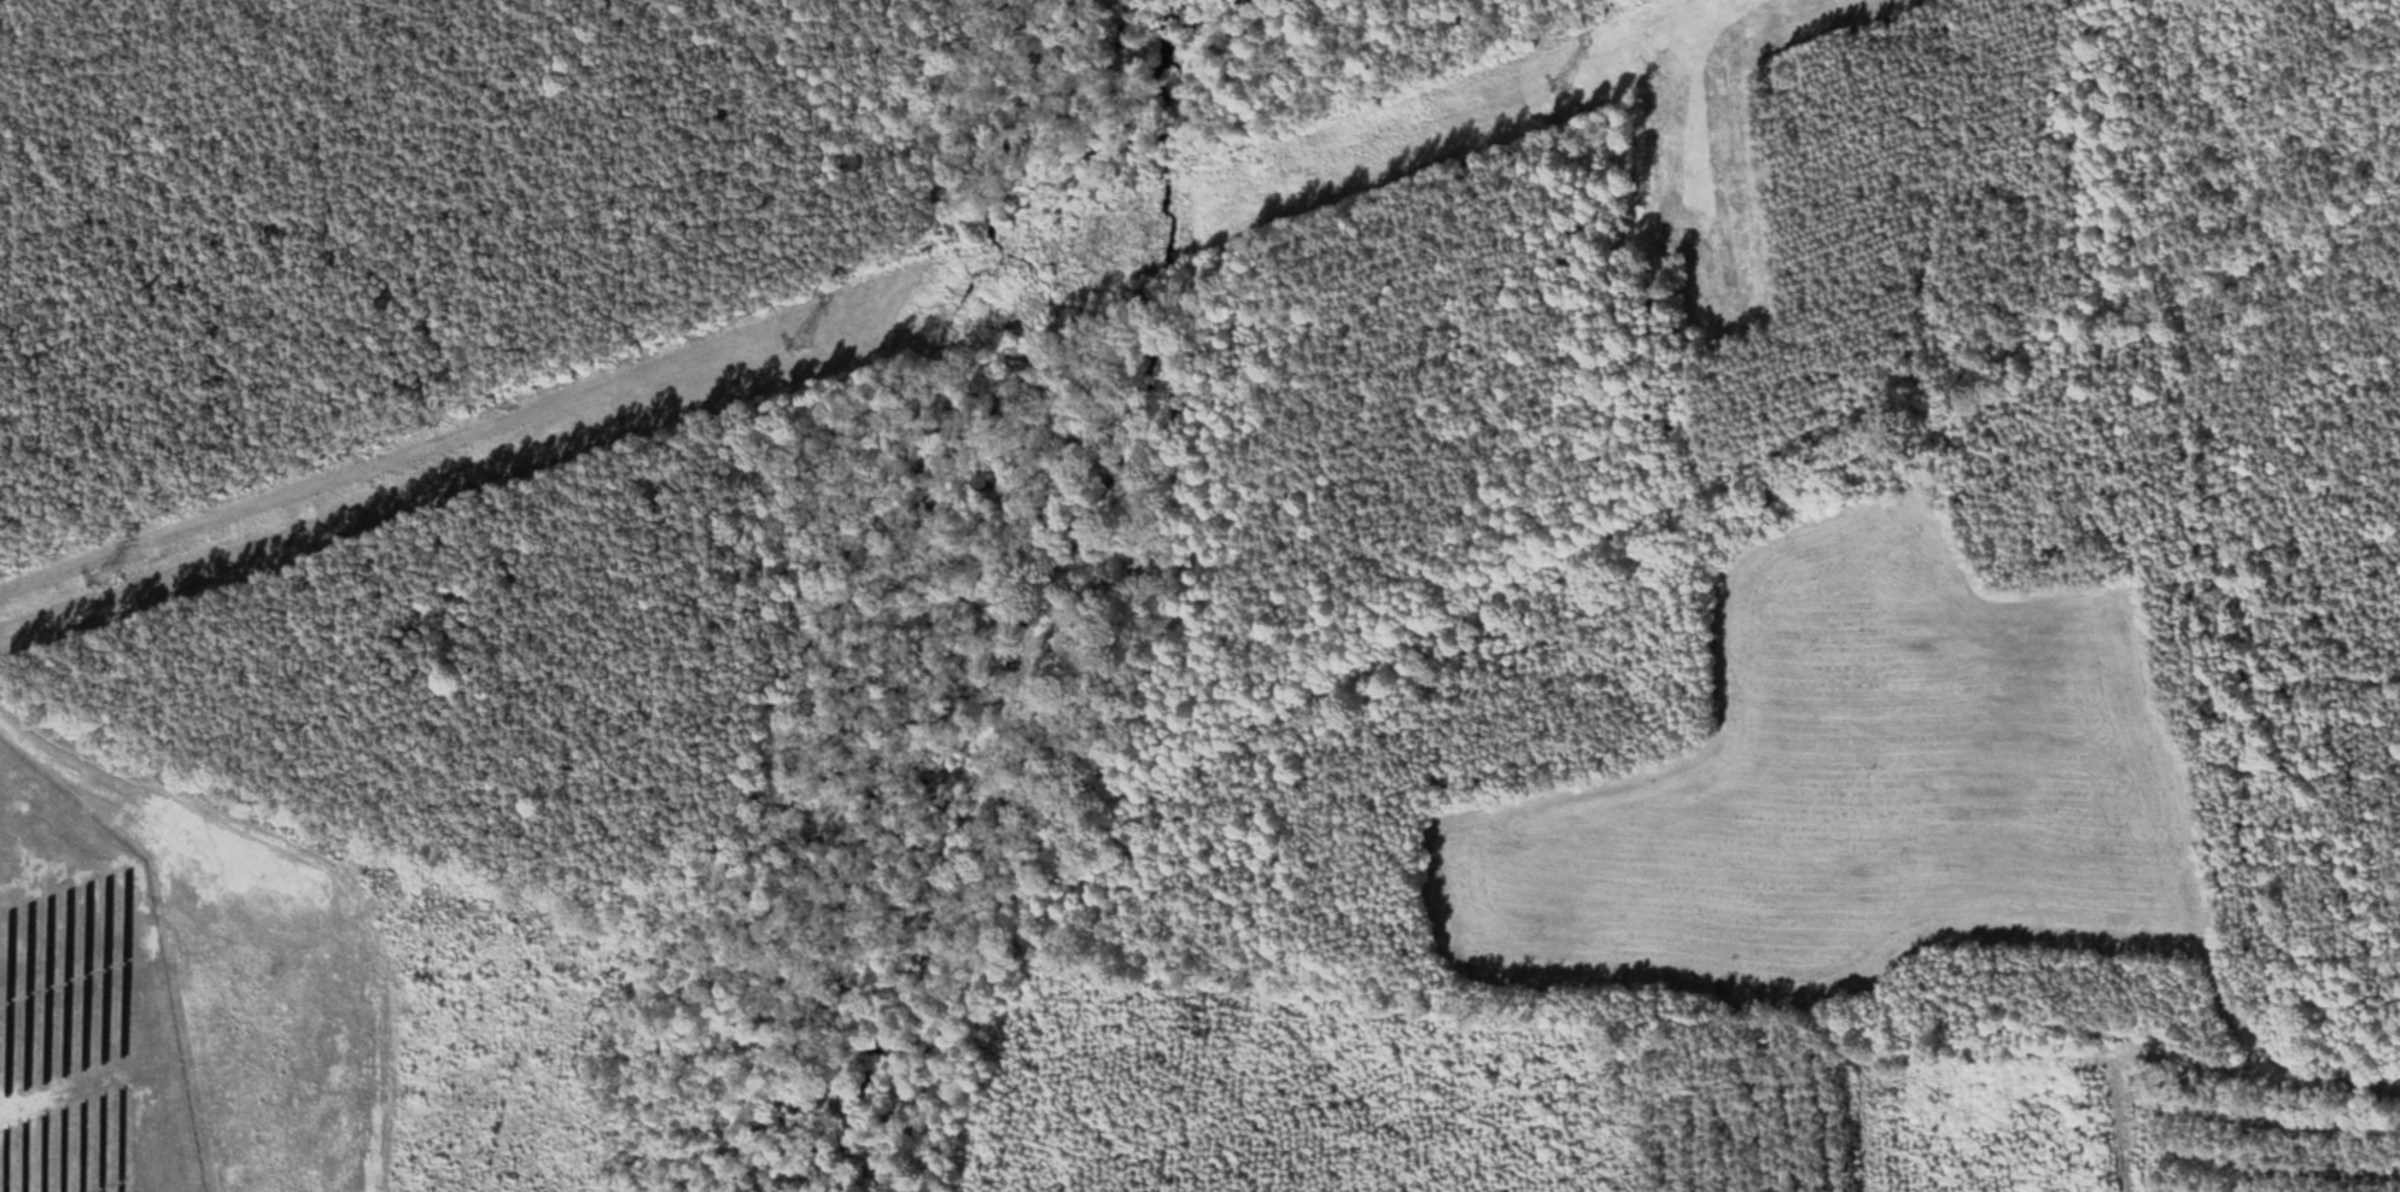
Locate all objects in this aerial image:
power tower: (1050, 236)

